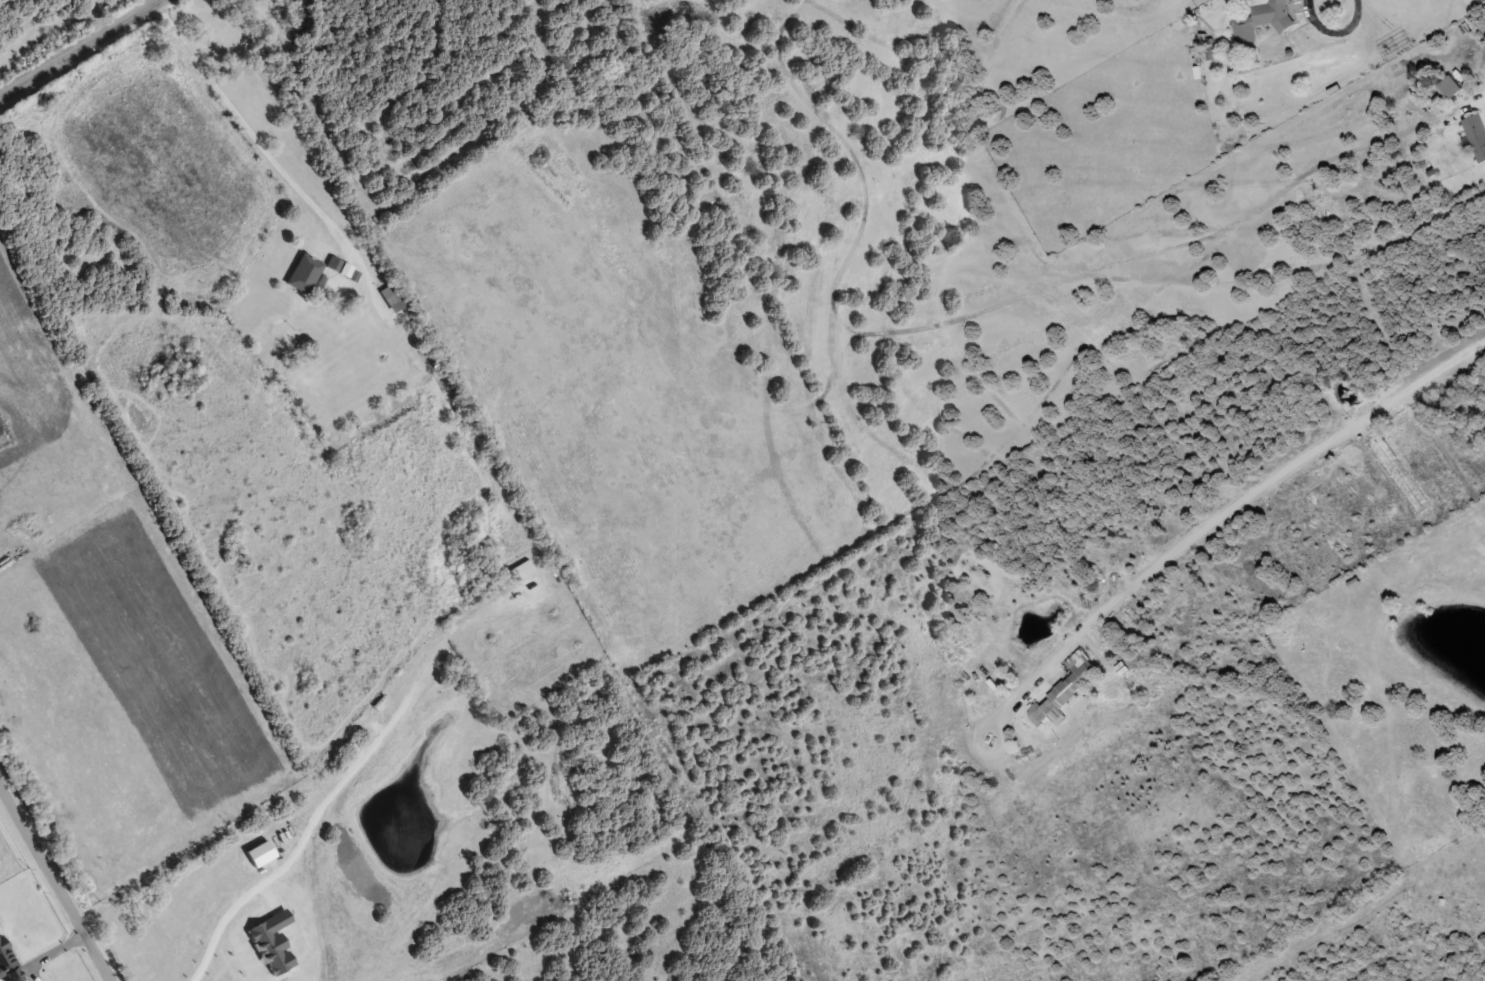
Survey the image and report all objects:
building: (1263, 18)
road: (78, 48)
building: (1450, 86)
building: (1477, 134)
building: (304, 274)
building: (390, 298)
building: (1398, 470)
building: (521, 572)
building: (1064, 689)
road: (56, 883)

